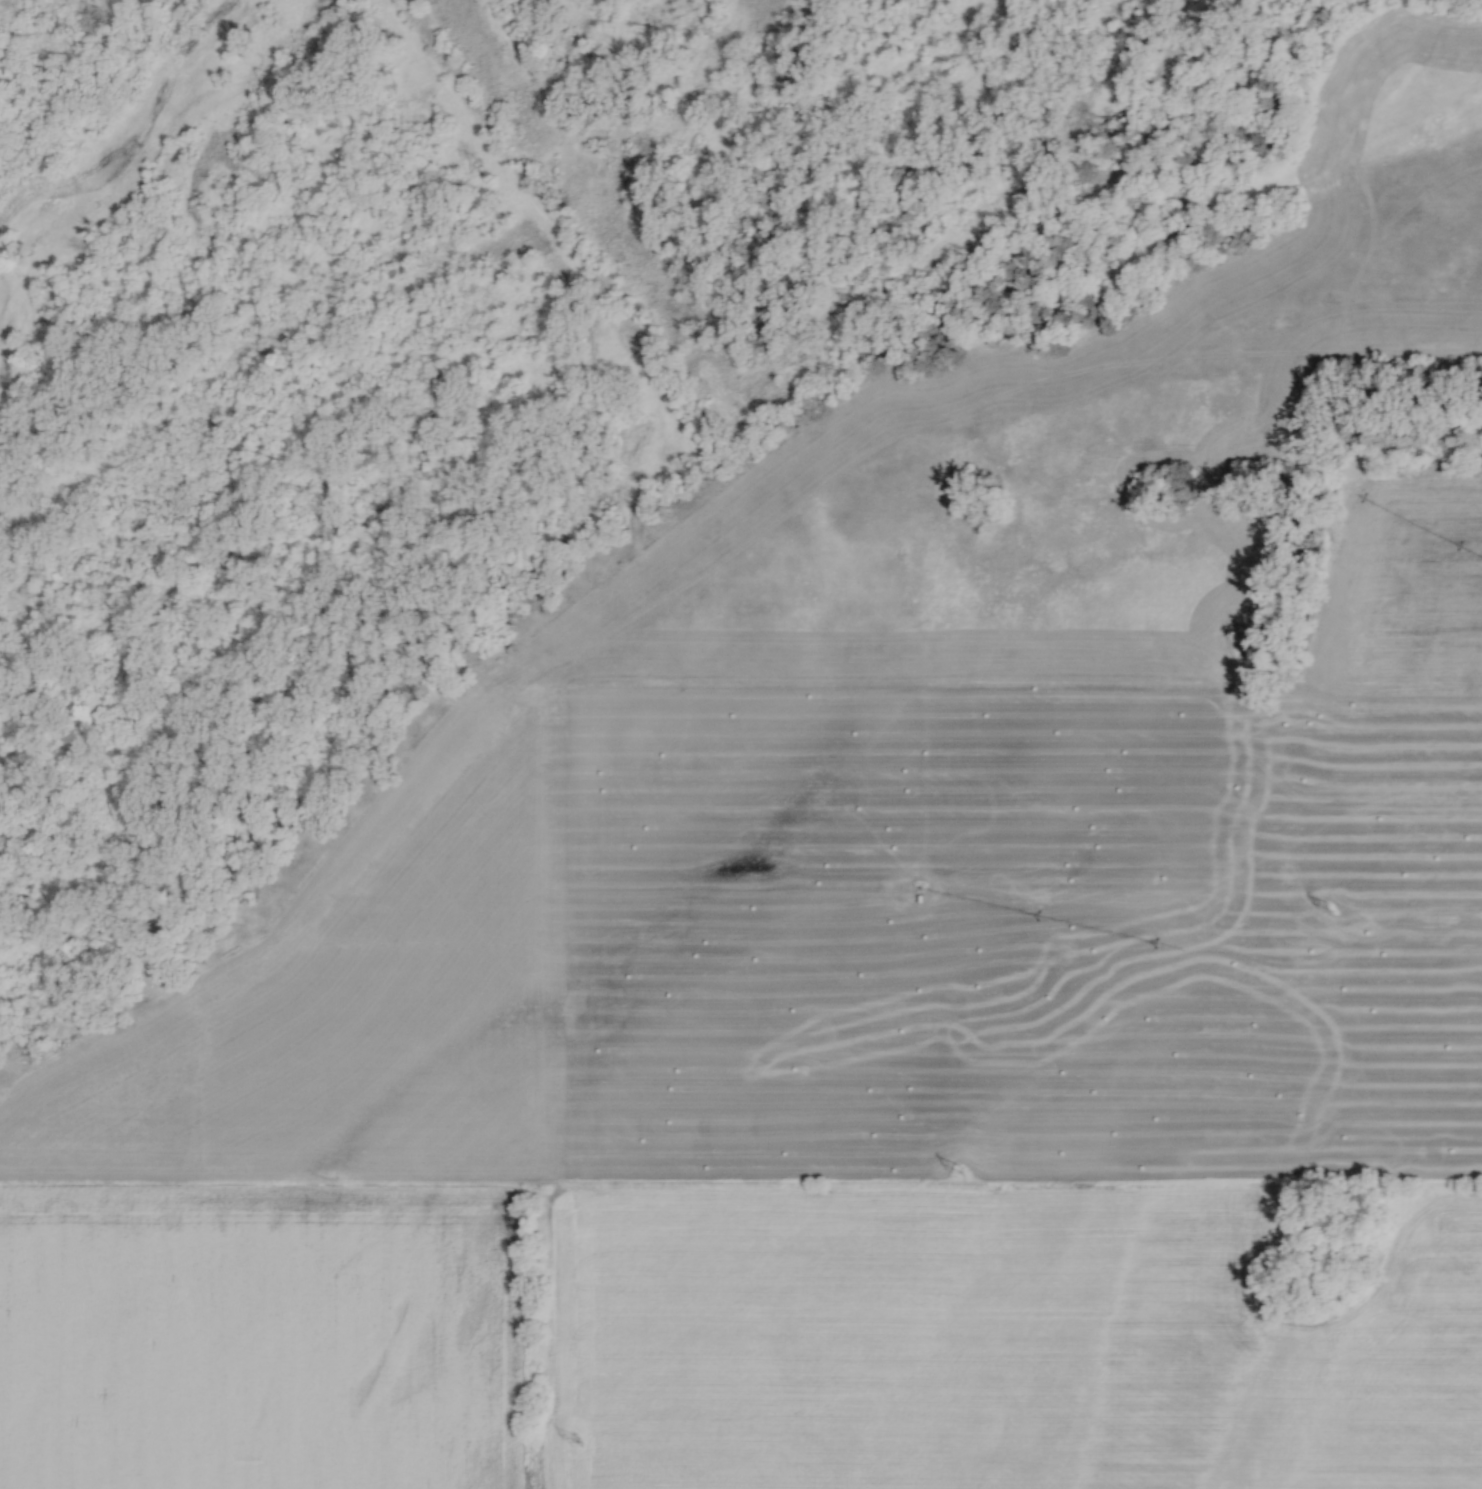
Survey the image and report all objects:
power tower: (1327, 908)
power tower: (957, 1168)
power tower: (574, 1439)

